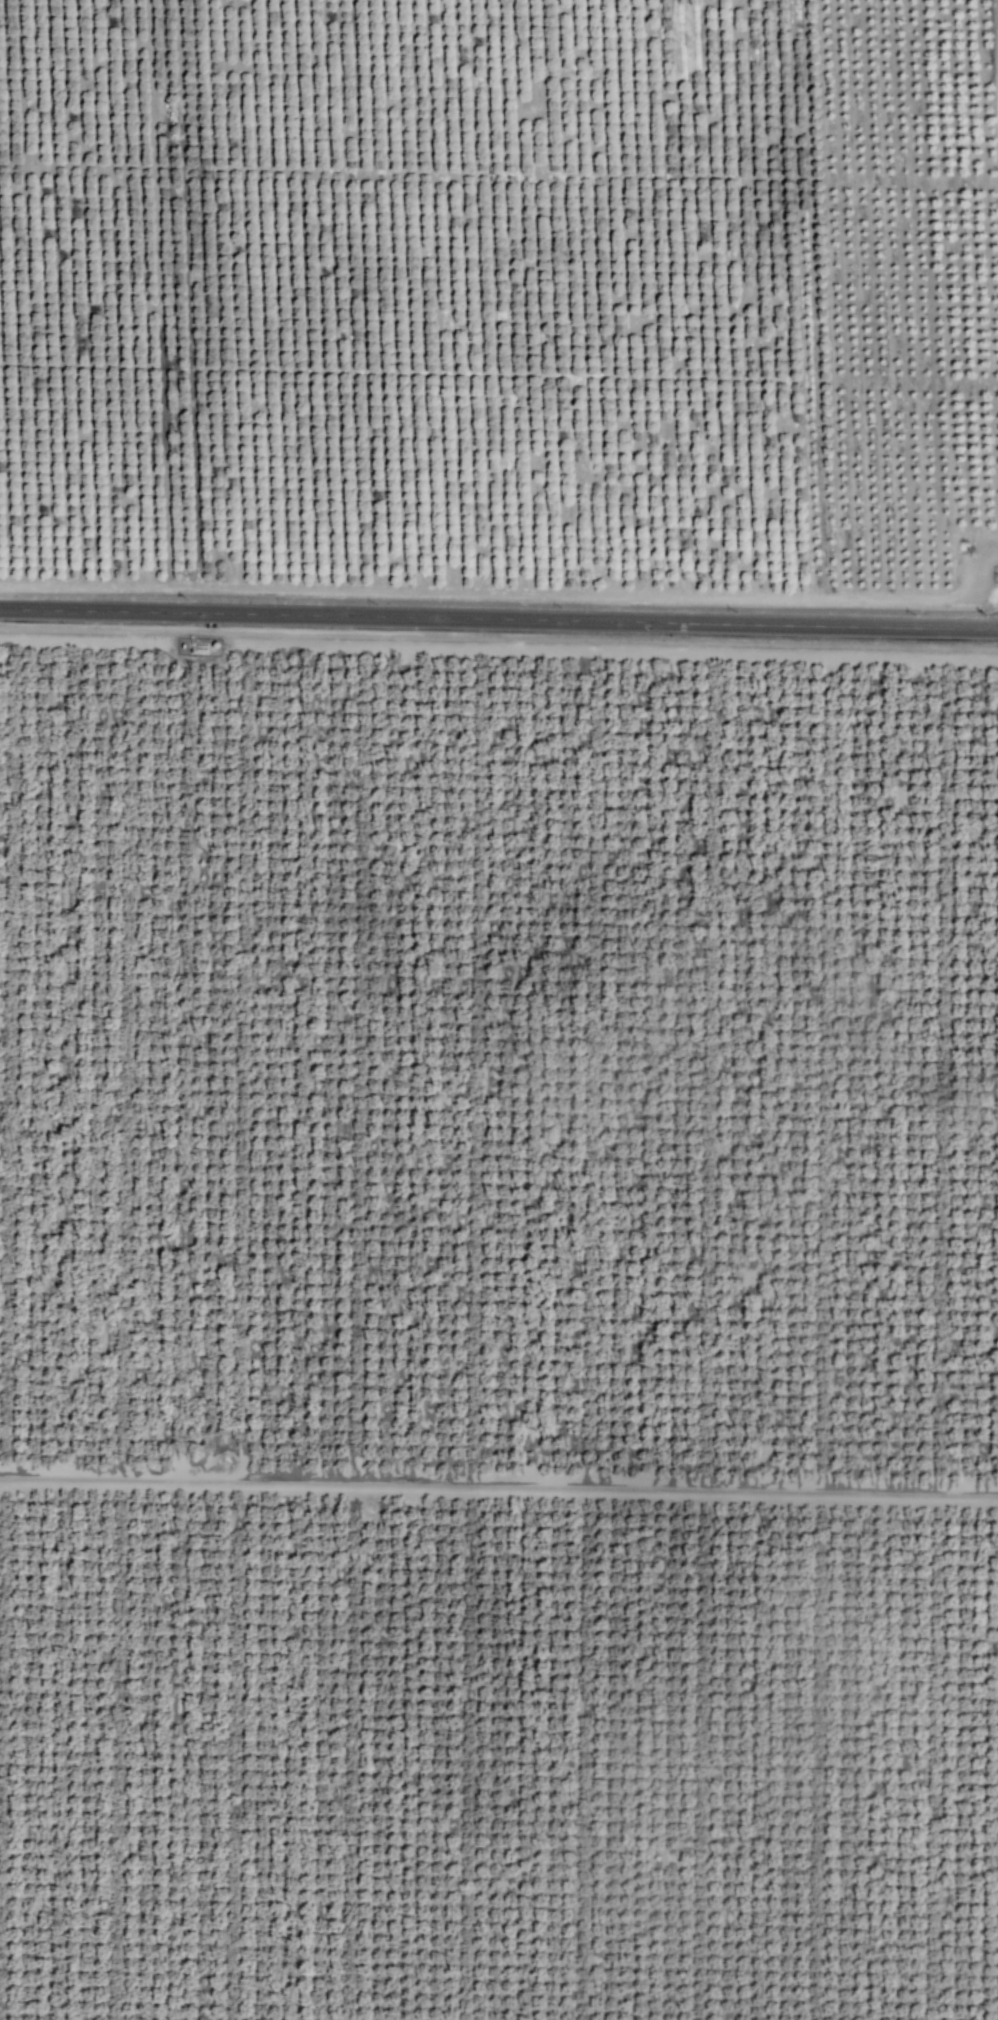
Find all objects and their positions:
road: (499, 617)

